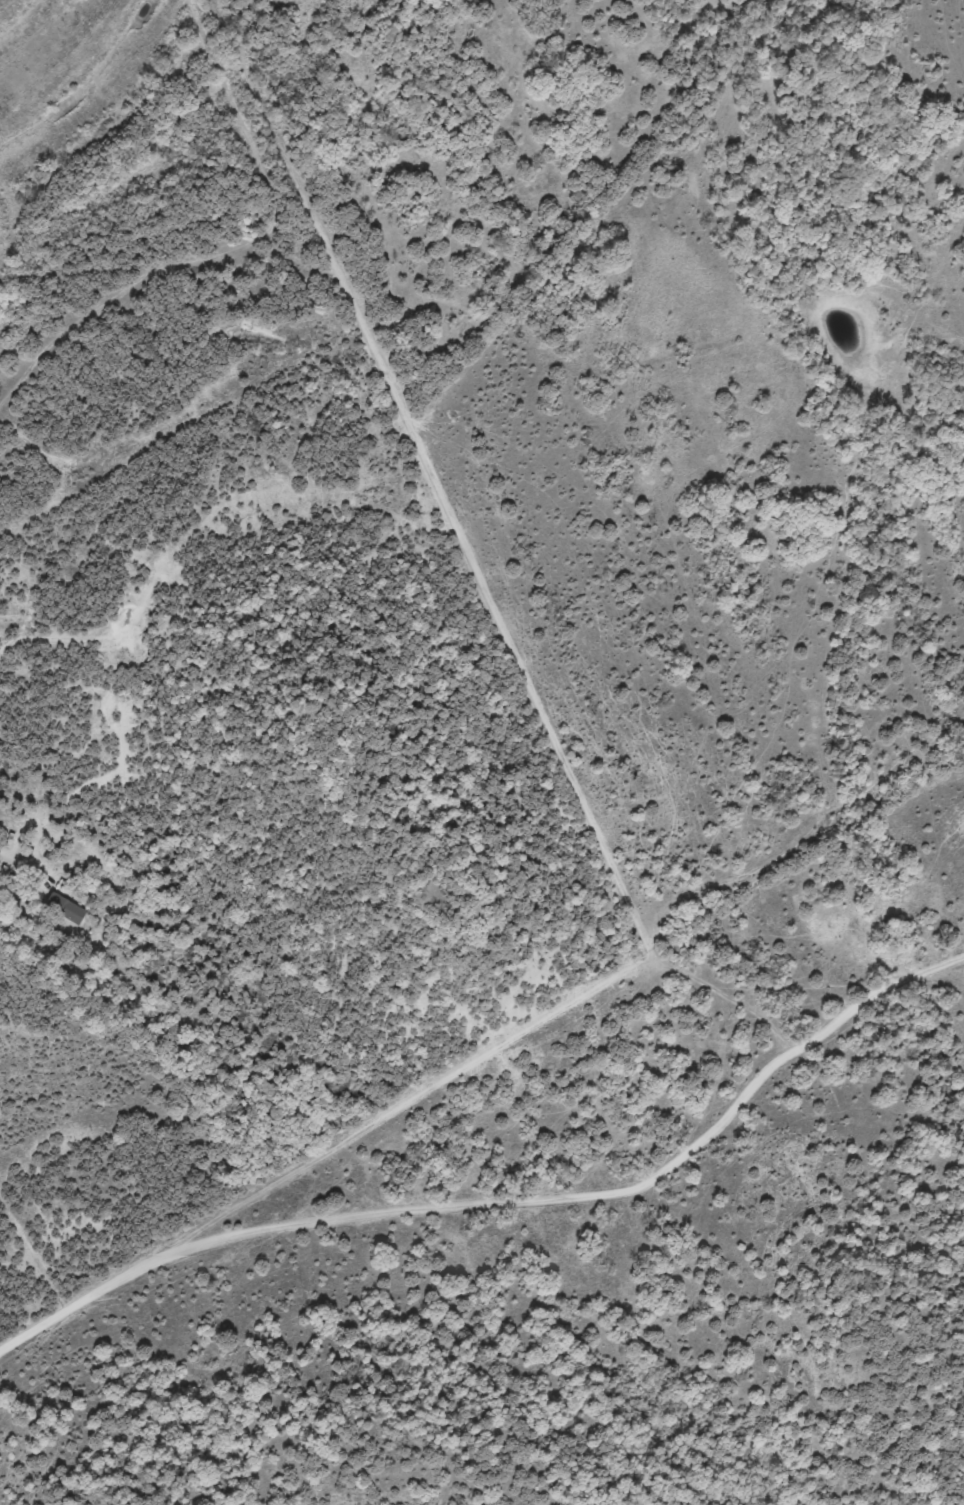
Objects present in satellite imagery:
building: (66, 908)
road: (506, 1233)

